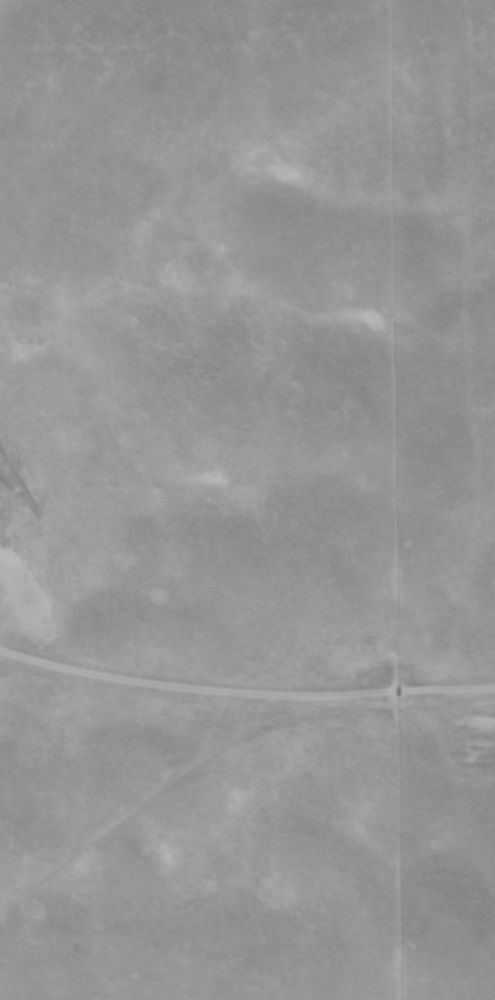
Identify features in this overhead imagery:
road: (189, 694)
road: (439, 696)
road: (191, 803)

